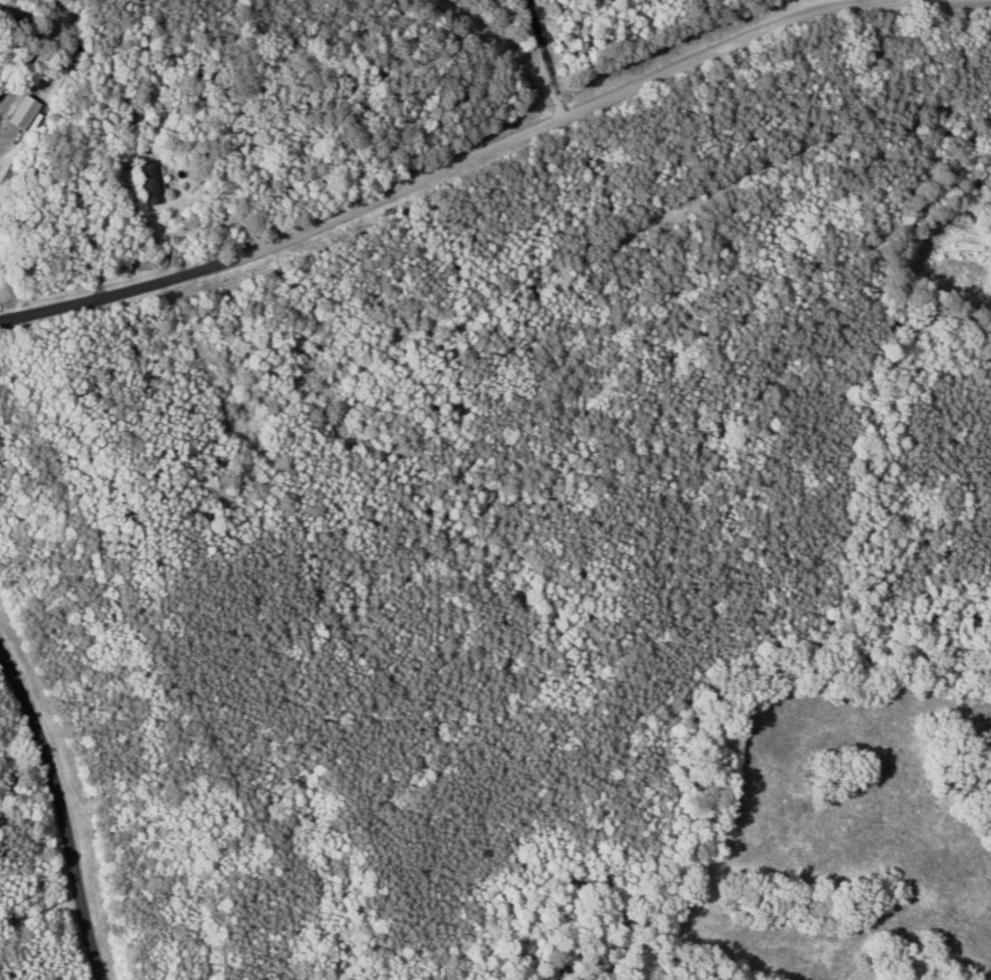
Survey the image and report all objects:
road: (727, 49)
road: (517, 53)
building: (30, 114)
building: (154, 184)
road: (289, 237)
road: (58, 813)

